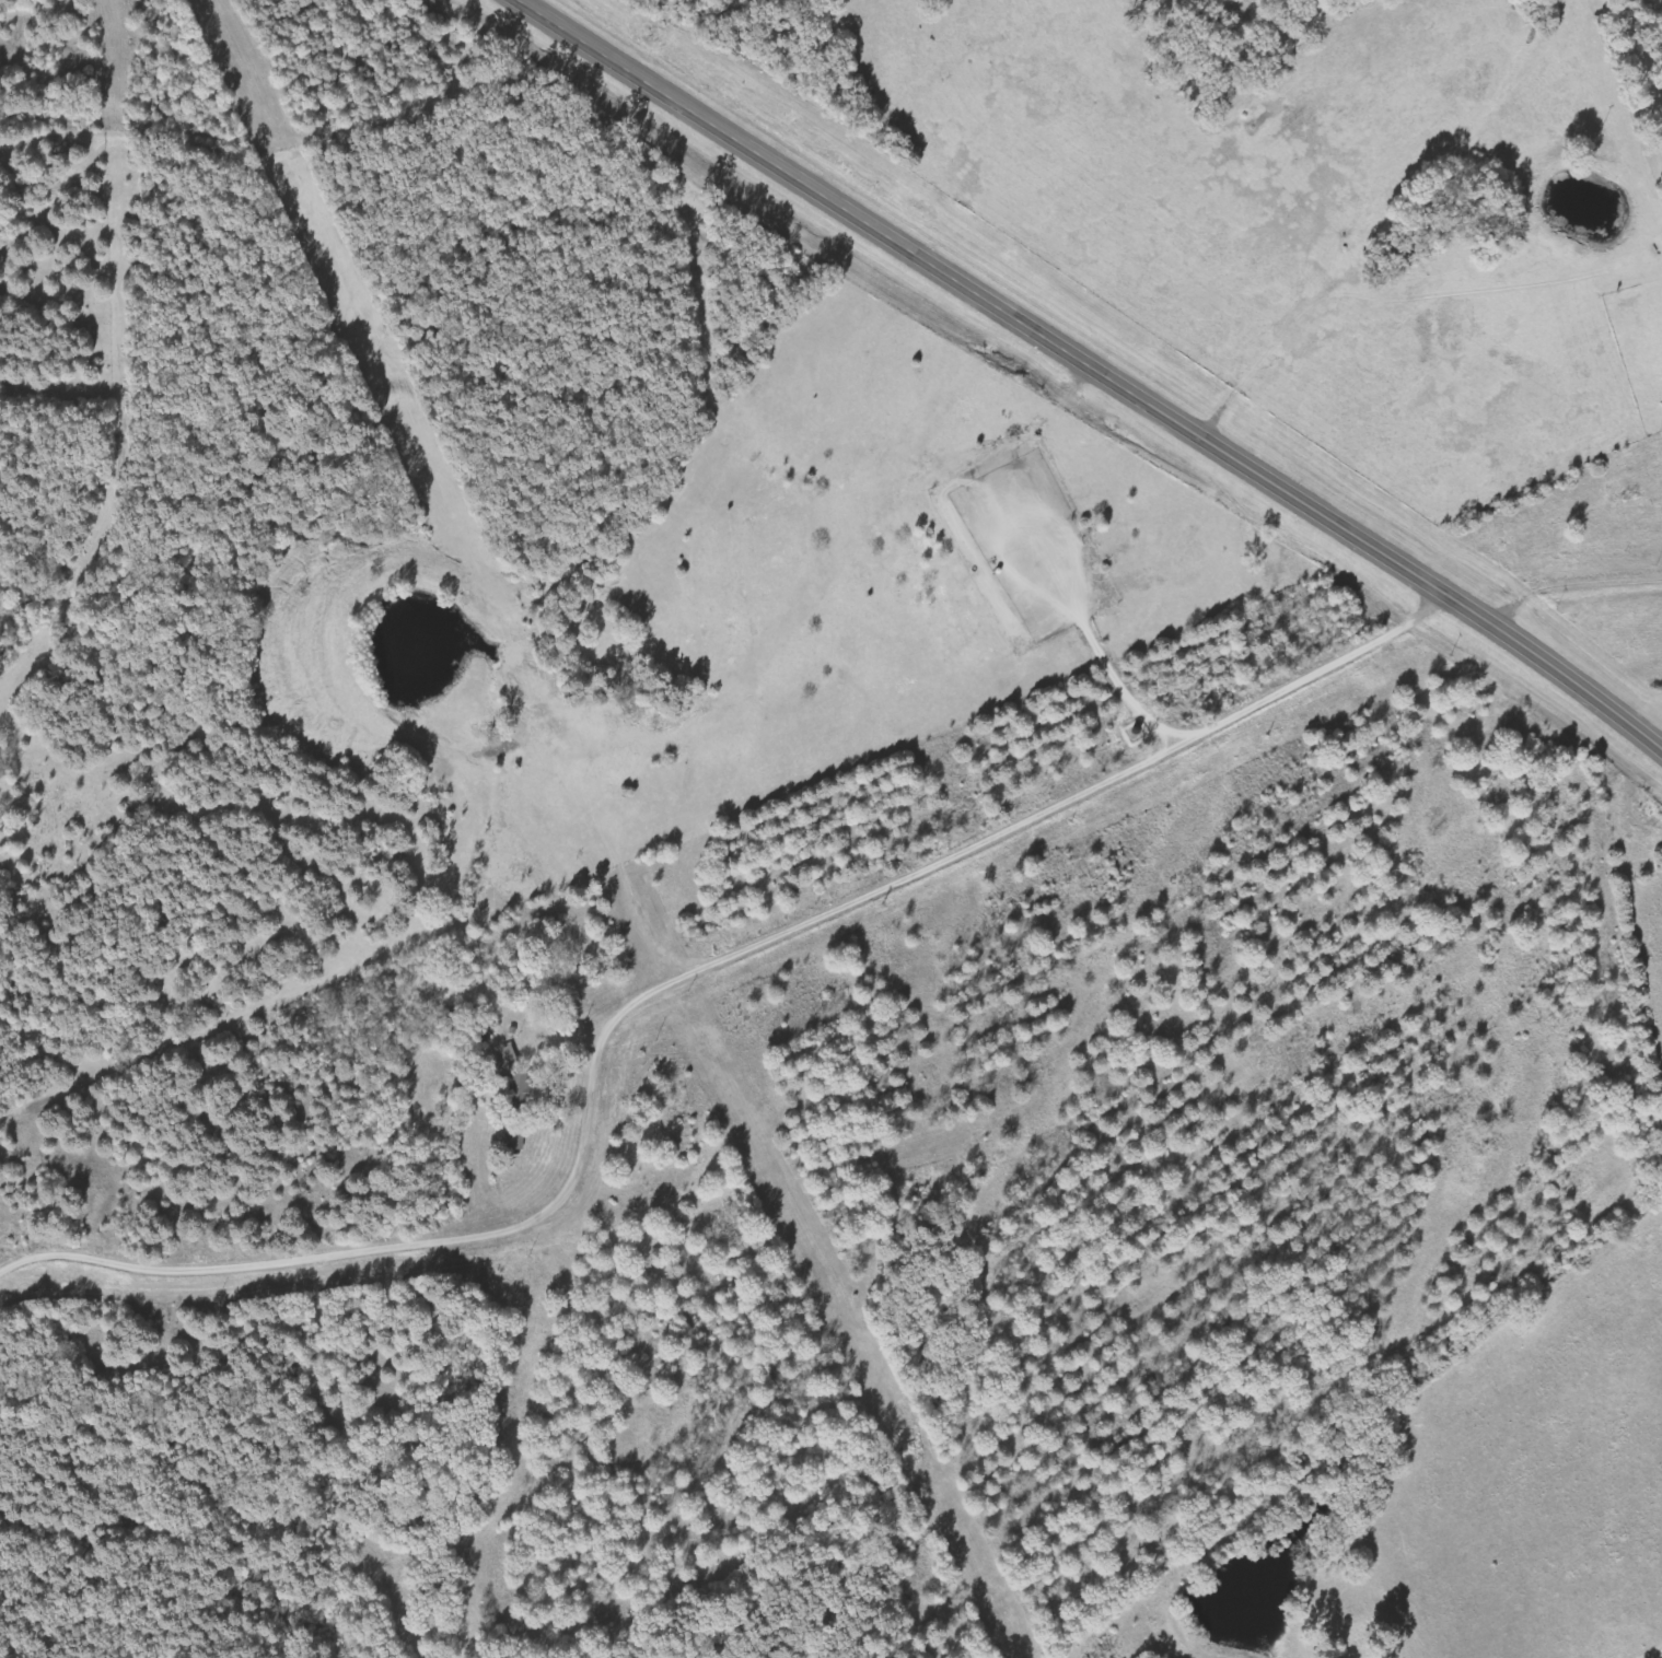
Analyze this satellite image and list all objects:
road: (1095, 366)
building: (514, 1076)
building: (512, 1139)

